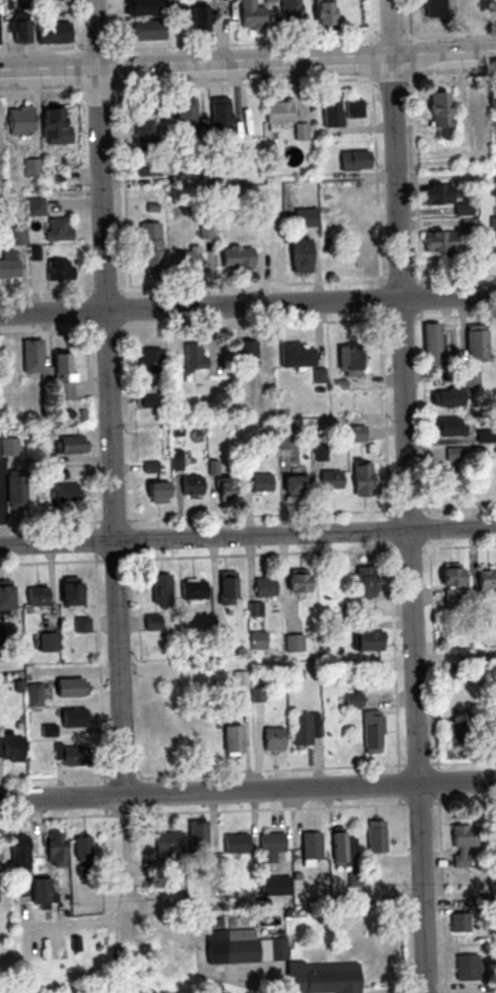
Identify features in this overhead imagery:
building: (144, 7)
building: (434, 9)
building: (475, 10)
building: (322, 13)
building: (289, 15)
building: (251, 16)
building: (198, 19)
building: (18, 24)
building: (143, 30)
building: (52, 32)
road: (248, 63)
building: (354, 109)
building: (331, 111)
building: (278, 112)
building: (440, 114)
building: (185, 116)
building: (220, 117)
building: (18, 120)
building: (52, 128)
building: (143, 131)
building: (353, 162)
building: (347, 197)
building: (437, 197)
building: (34, 207)
building: (304, 219)
building: (57, 230)
building: (492, 236)
building: (438, 245)
building: (150, 248)
building: (357, 249)
building: (297, 257)
building: (235, 258)
building: (188, 260)
building: (9, 265)
building: (58, 271)
road: (248, 304)
building: (475, 343)
building: (433, 347)
building: (246, 353)
building: (295, 355)
building: (193, 358)
building: (348, 360)
building: (149, 362)
building: (47, 367)
road: (109, 398)
building: (445, 398)
building: (449, 427)
building: (287, 437)
building: (3, 447)
building: (452, 454)
building: (152, 467)
building: (329, 479)
building: (359, 479)
building: (444, 480)
building: (220, 482)
building: (260, 482)
building: (292, 486)
building: (191, 488)
building: (155, 491)
road: (409, 496)
road: (247, 533)
building: (449, 576)
building: (485, 579)
building: (363, 581)
building: (297, 582)
building: (264, 586)
building: (160, 589)
building: (226, 589)
building: (195, 591)
building: (66, 592)
building: (35, 596)
building: (3, 597)
building: (255, 609)
building: (152, 622)
building: (81, 624)
building: (258, 640)
building: (368, 640)
building: (47, 642)
building: (294, 643)
building: (223, 646)
road: (456, 658)
building: (68, 688)
building: (33, 695)
building: (157, 707)
building: (70, 721)
building: (303, 729)
building: (370, 731)
building: (494, 733)
building: (273, 739)
building: (231, 740)
building: (162, 742)
building: (7, 748)
building: (70, 756)
road: (248, 791)
building: (196, 835)
building: (375, 836)
building: (462, 842)
building: (167, 844)
building: (236, 844)
building: (270, 846)
building: (310, 846)
building: (83, 847)
building: (0, 848)
building: (55, 849)
building: (342, 849)
building: (19, 851)
building: (82, 871)
building: (20, 887)
building: (41, 896)
building: (459, 922)
building: (232, 949)
building: (468, 966)
building: (321, 977)

